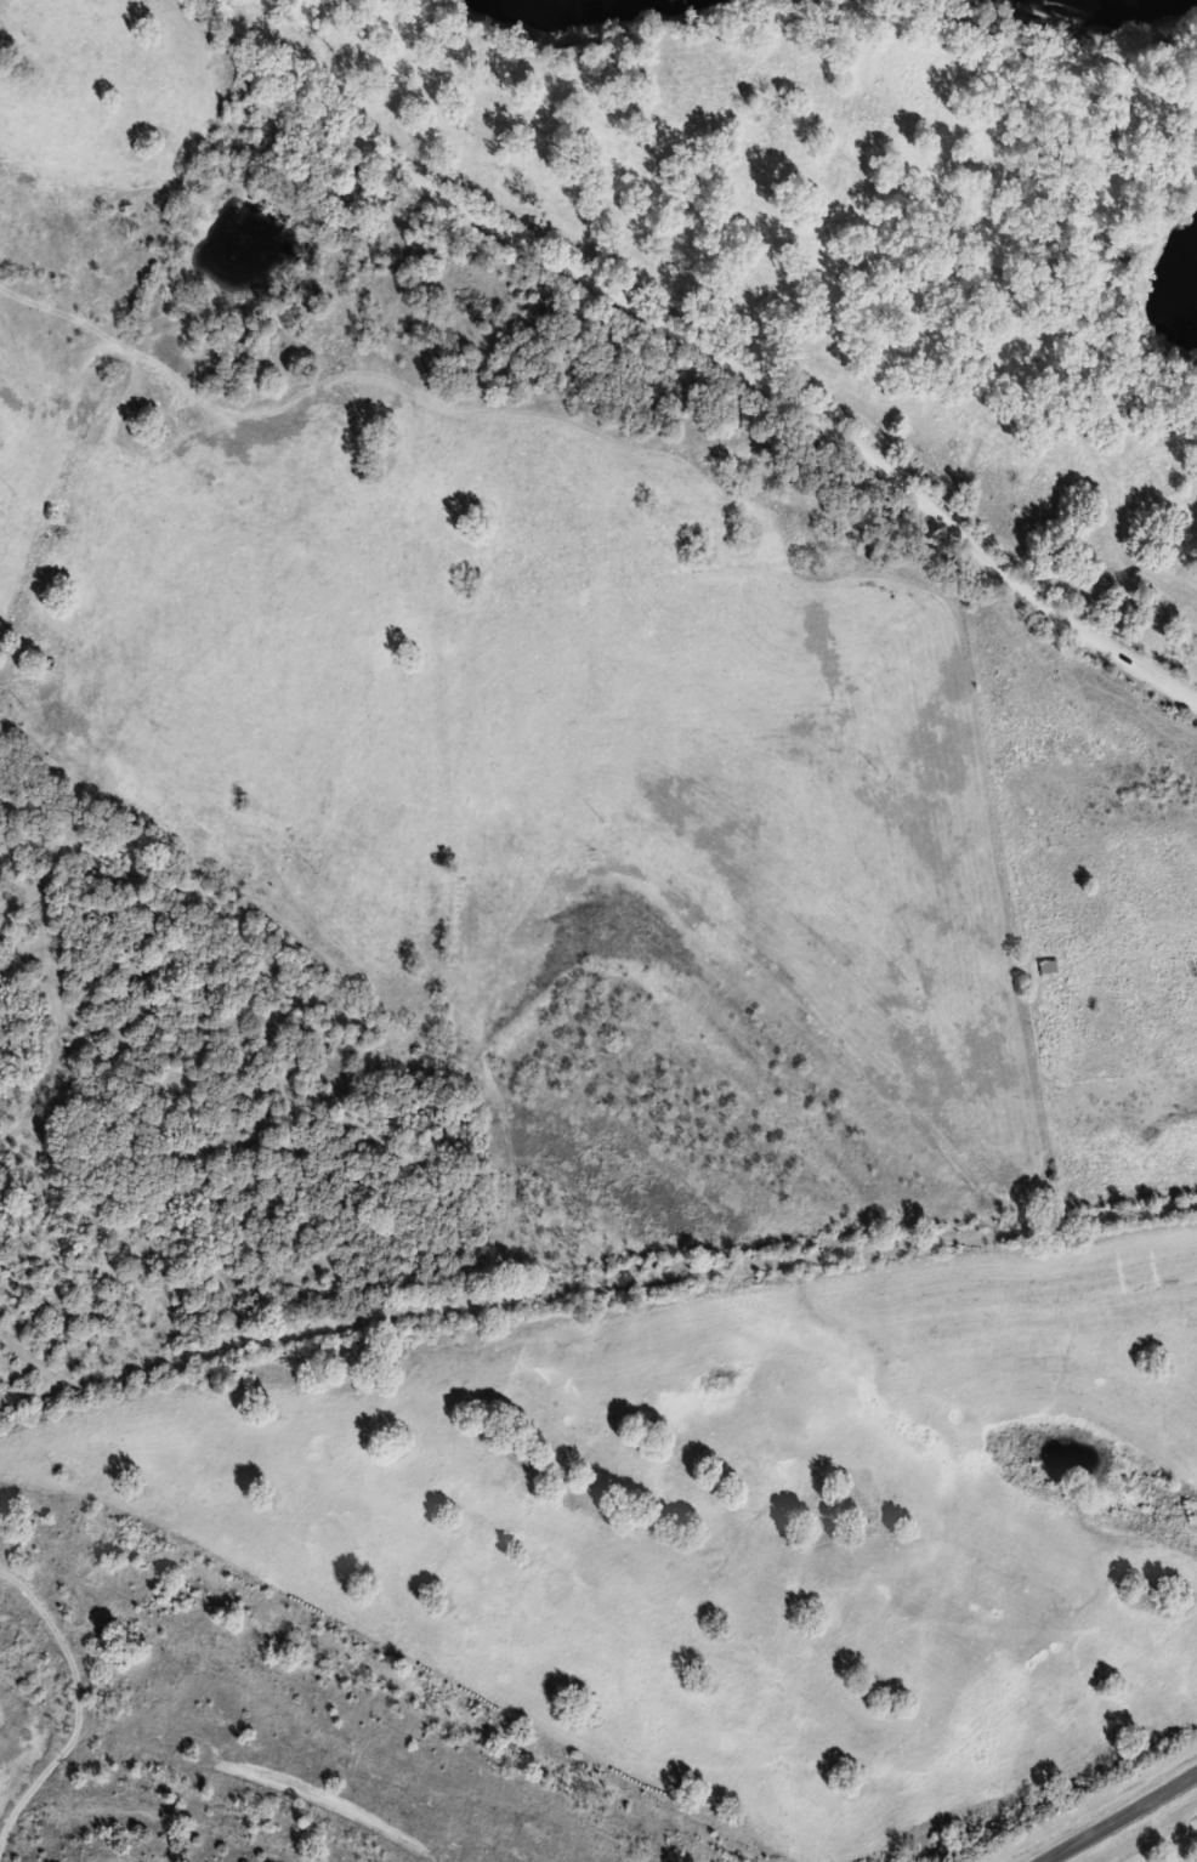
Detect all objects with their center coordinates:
river: (588, 8)
river: (1090, 16)
building: (473, 303)
road: (688, 353)
building: (1051, 966)
road: (598, 1336)
road: (1119, 1817)

